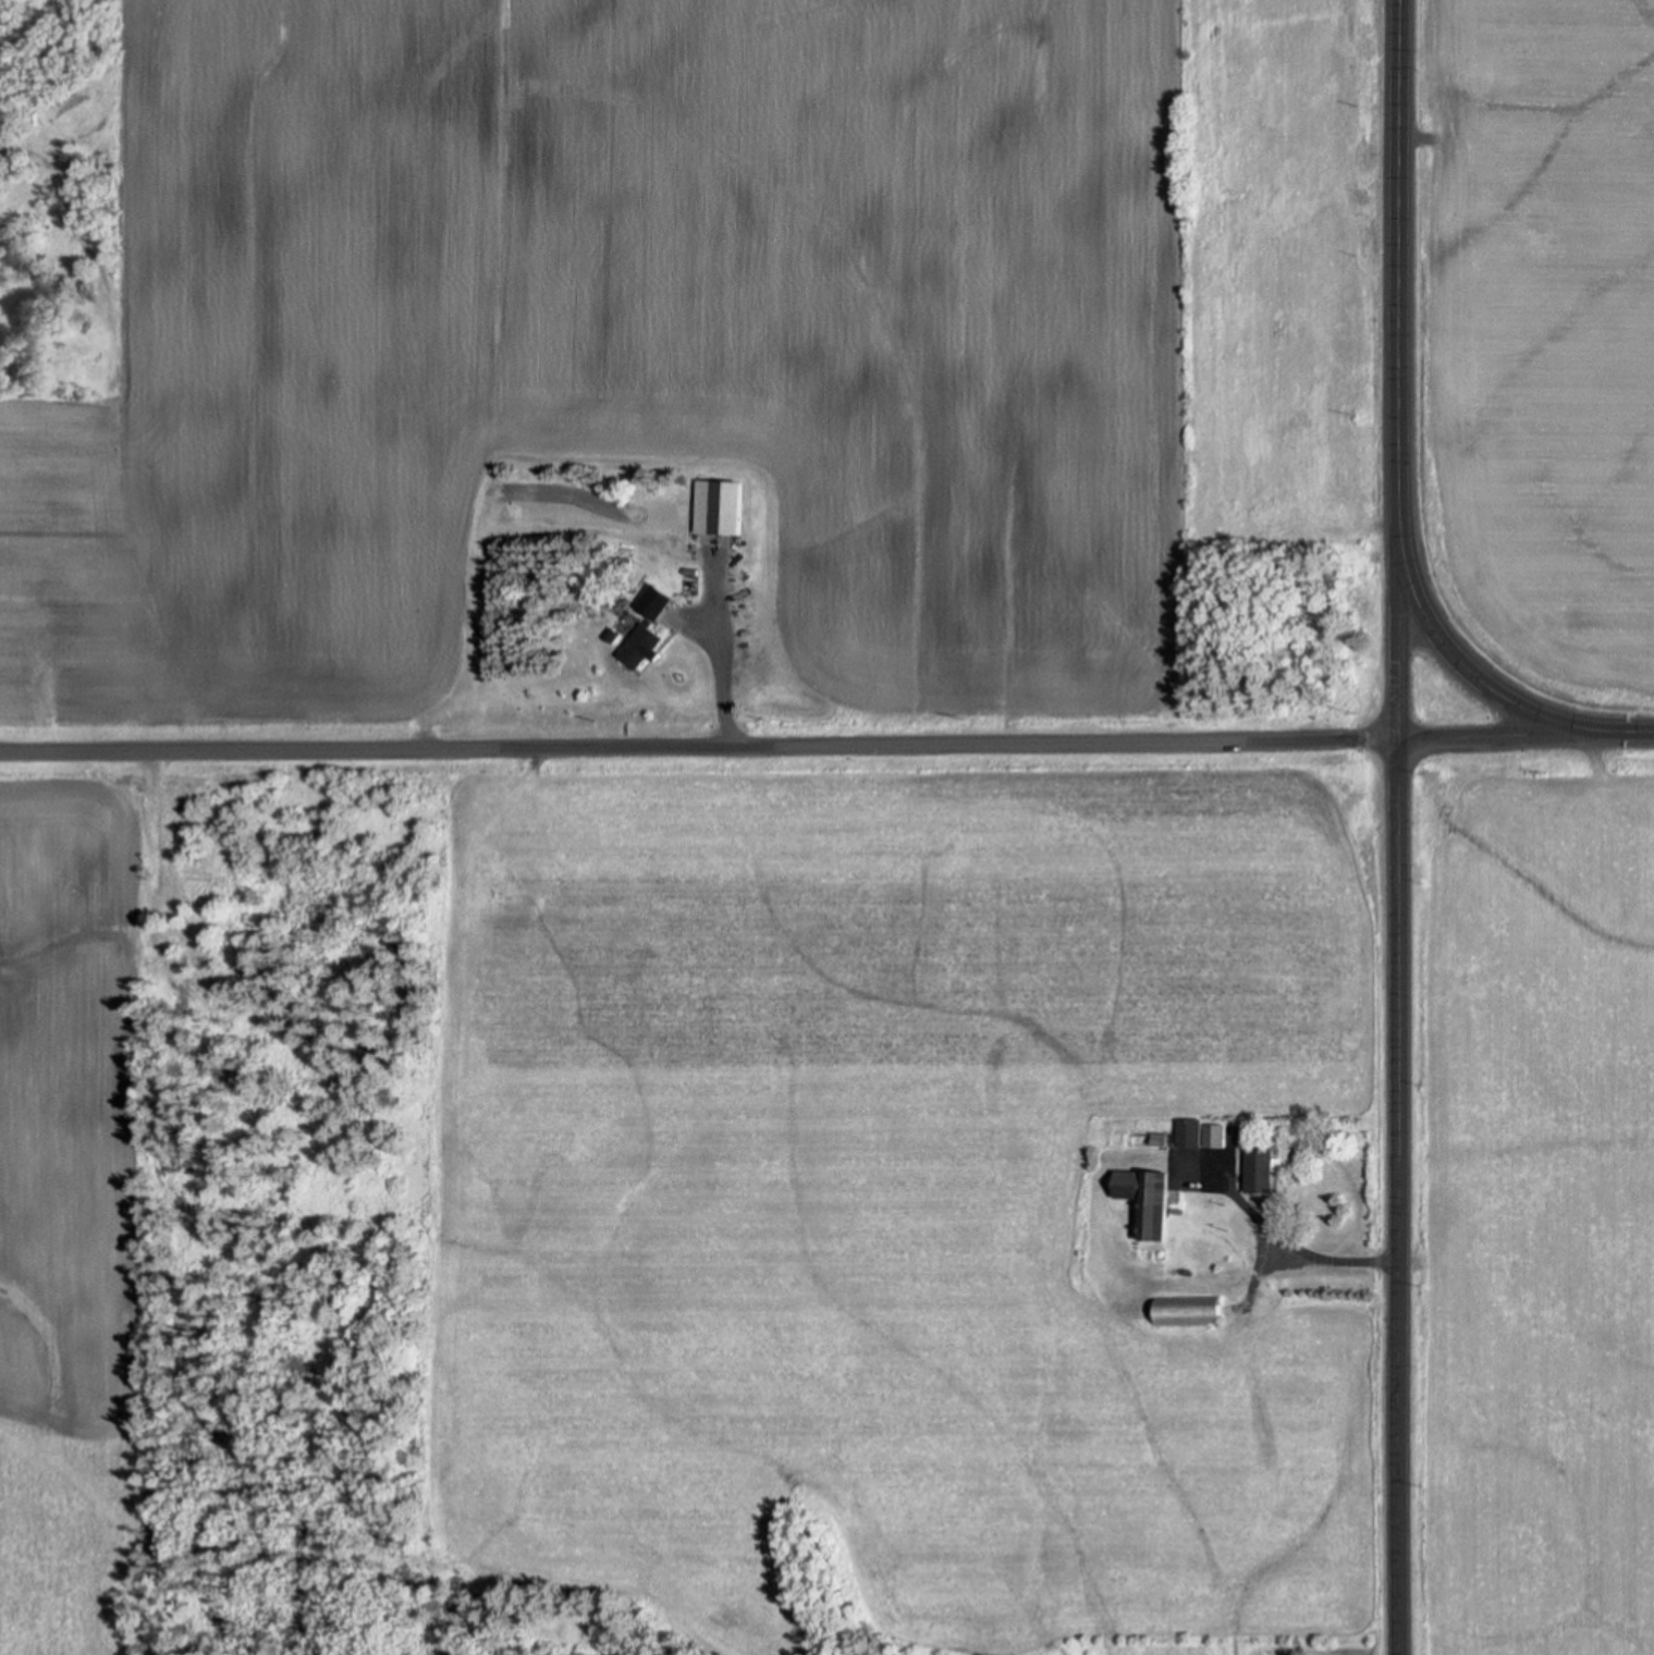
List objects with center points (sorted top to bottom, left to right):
road: (1401, 261)
building: (722, 507)
building: (657, 602)
building: (642, 646)
road: (1467, 666)
road: (1631, 734)
road: (805, 736)
road: (1396, 1072)
building: (1194, 1135)
building: (1261, 1169)
building: (1144, 1198)
building: (1188, 1310)
road: (1394, 1639)

